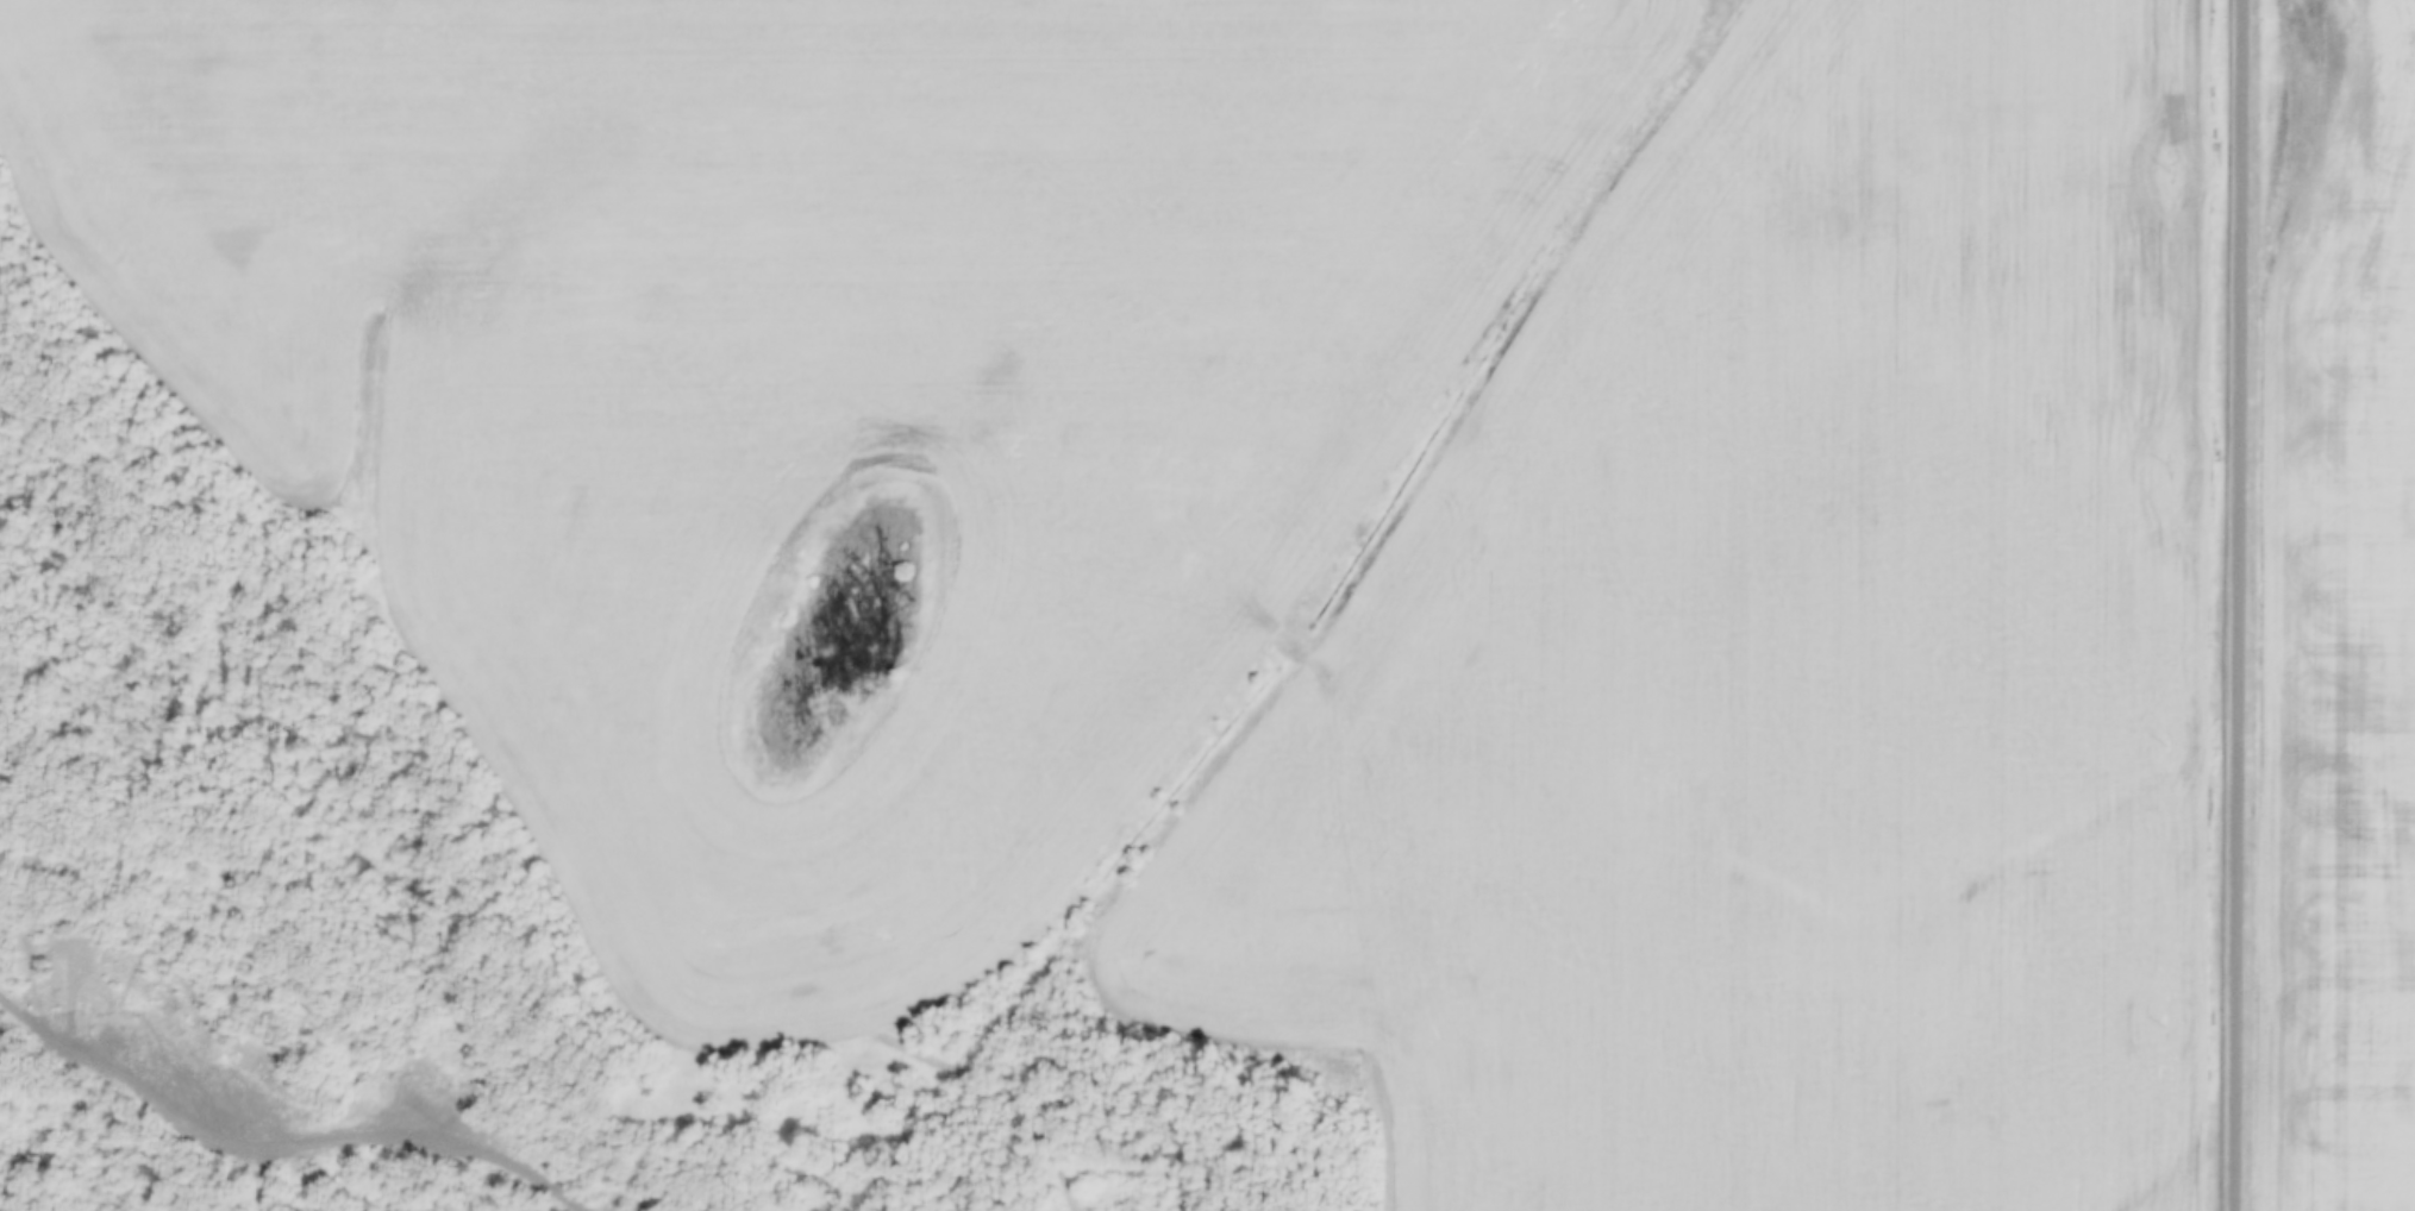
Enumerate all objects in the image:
road: (2248, 604)
road: (279, 1150)
road: (273, 1181)

